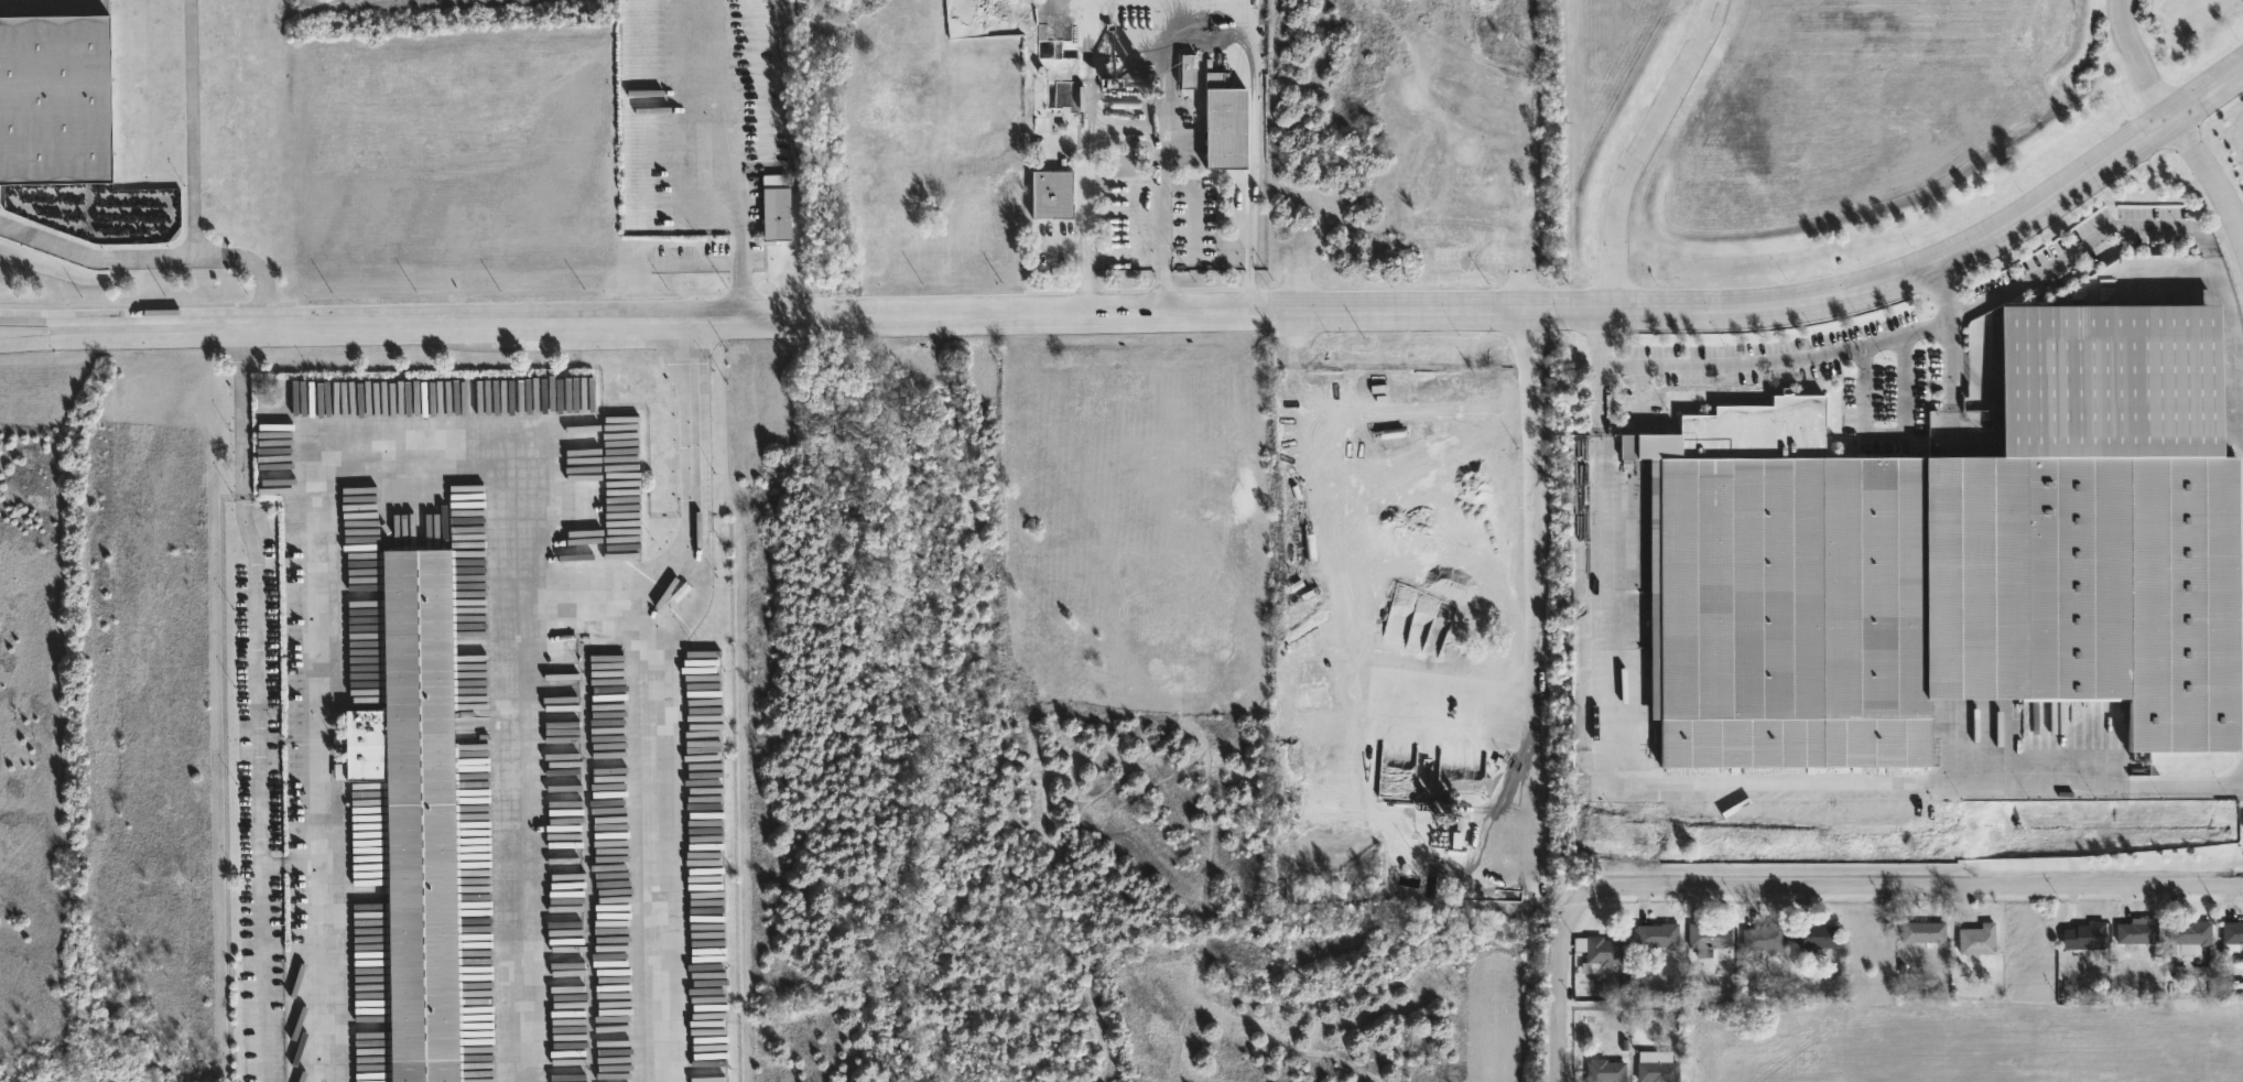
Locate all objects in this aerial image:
road: (1206, 24)
road: (2139, 59)
building: (1188, 69)
building: (55, 98)
building: (1040, 102)
building: (1224, 122)
road: (191, 129)
road: (1633, 148)
road: (2207, 170)
road: (1085, 183)
building: (1053, 194)
road: (738, 204)
building: (777, 206)
road: (156, 259)
road: (696, 261)
road: (737, 275)
road: (1946, 296)
road: (1199, 312)
road: (44, 318)
road: (1906, 329)
road: (44, 338)
road: (1596, 369)
road: (1886, 430)
road: (419, 453)
road: (689, 533)
building: (1951, 563)
road: (257, 703)
road: (1753, 780)
building: (415, 810)
road: (654, 841)
road: (294, 864)
road: (1818, 885)
building: (2135, 929)
building: (1921, 930)
building: (2232, 930)
building: (2082, 931)
building: (2190, 931)
building: (1656, 932)
building: (1817, 933)
building: (1708, 934)
building: (1763, 934)
building: (1975, 938)
building: (1602, 948)
building: (1604, 1069)
building: (1656, 1069)

